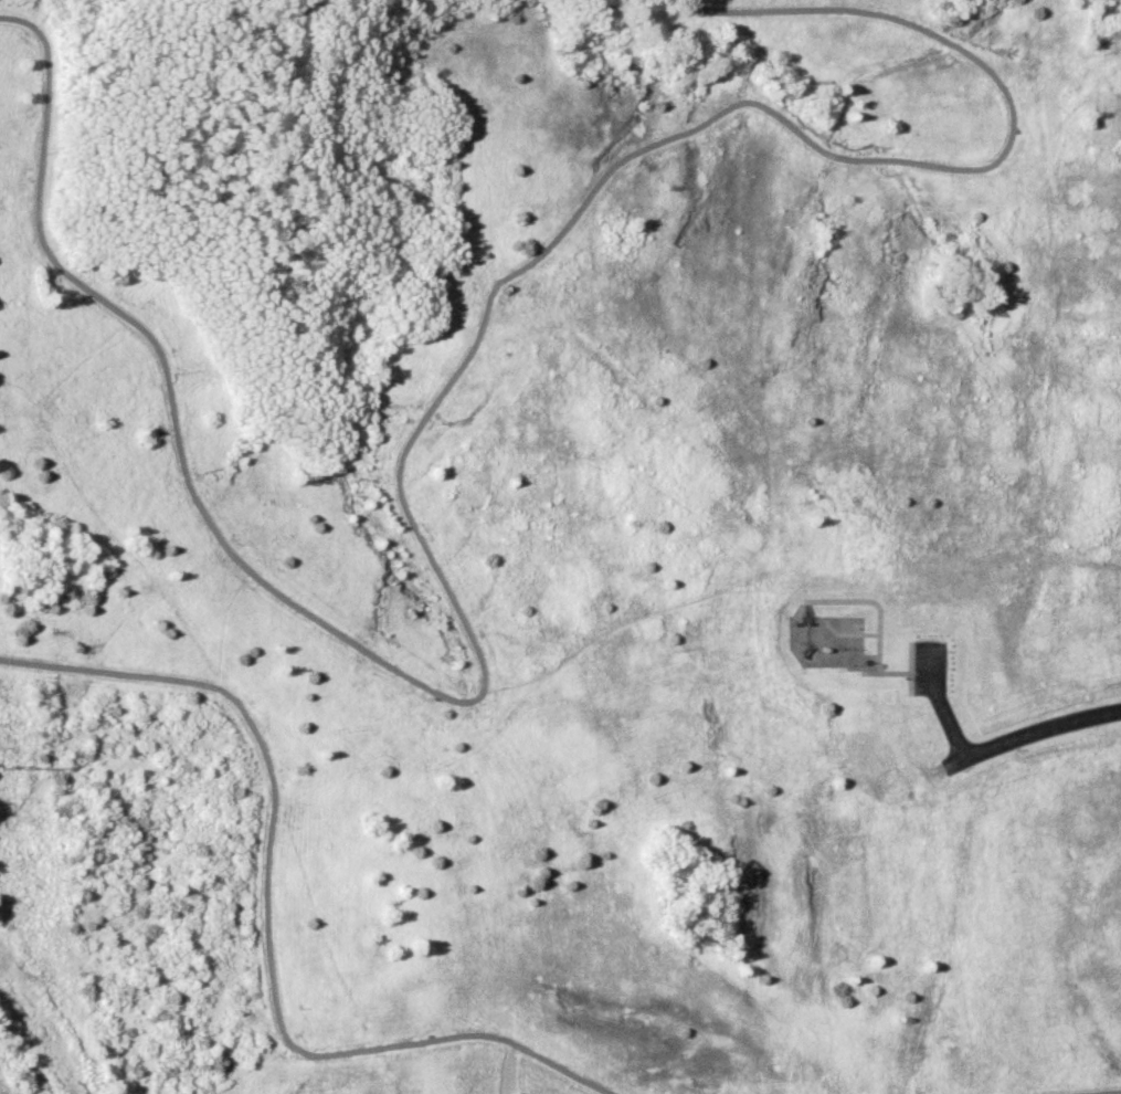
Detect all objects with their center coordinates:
road: (403, 444)
park: (560, 547)
parking lot: (928, 666)
road: (937, 701)
road: (1030, 729)
power tower: (2, 765)
road: (263, 923)
road: (509, 1070)

